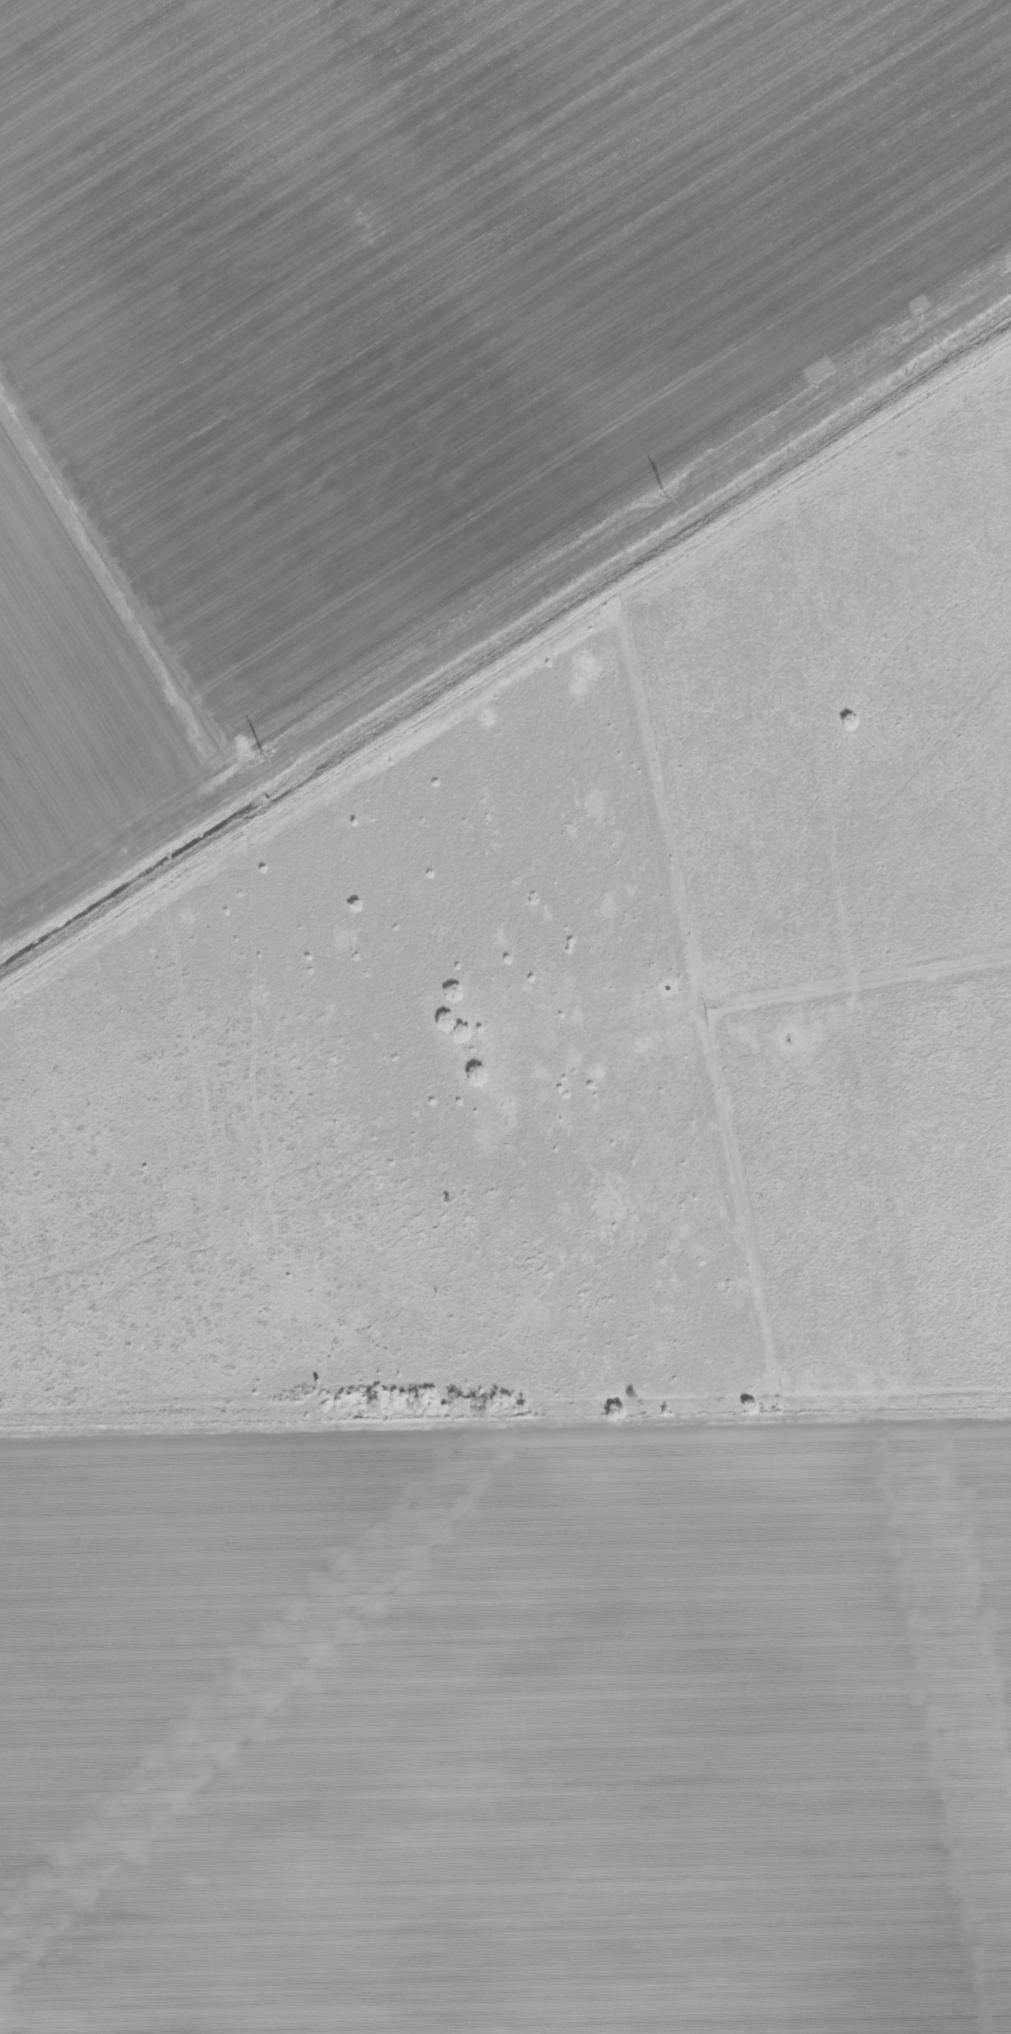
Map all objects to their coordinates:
power tower: (668, 495)
power tower: (265, 755)

